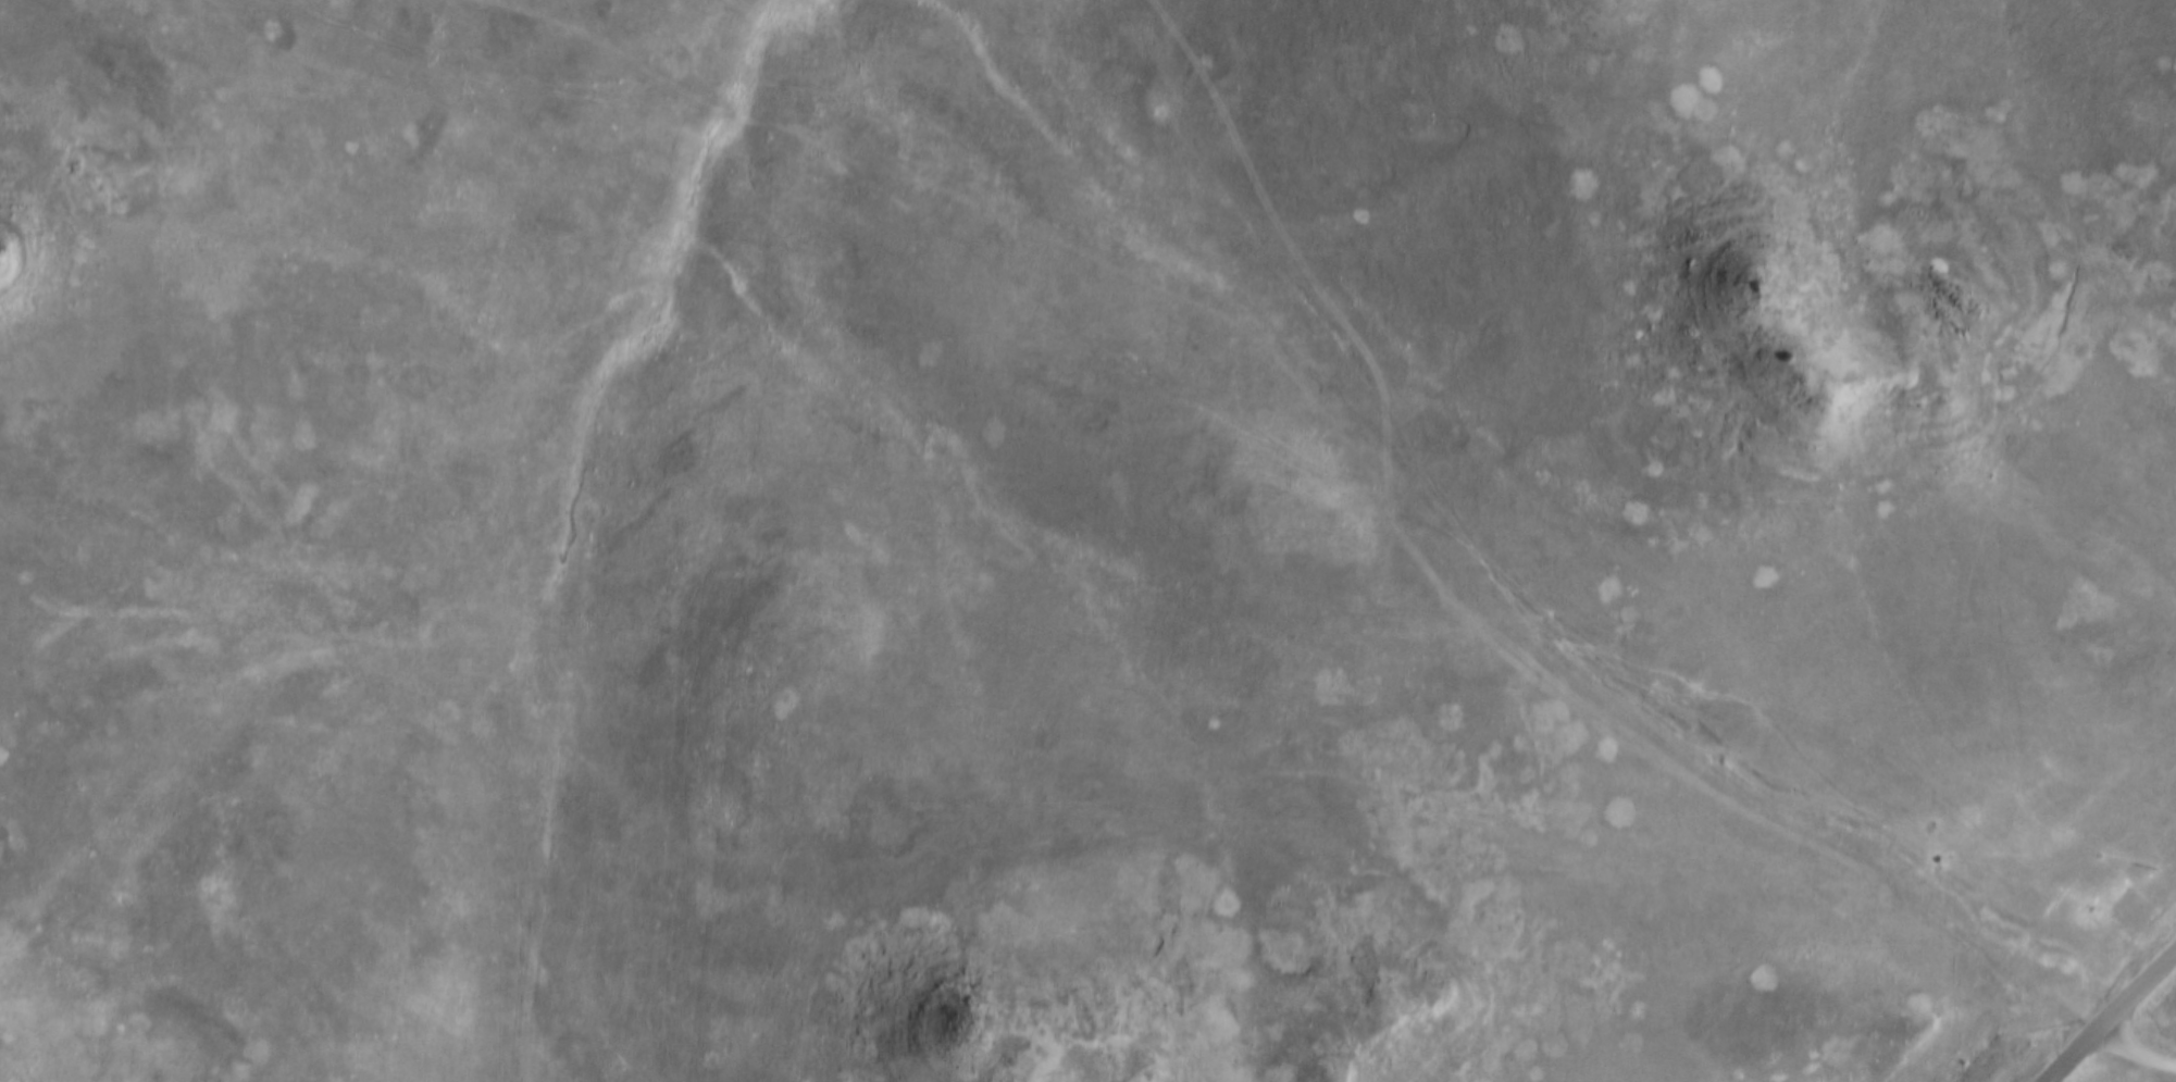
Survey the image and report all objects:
road: (2110, 1015)
road: (2135, 1049)

